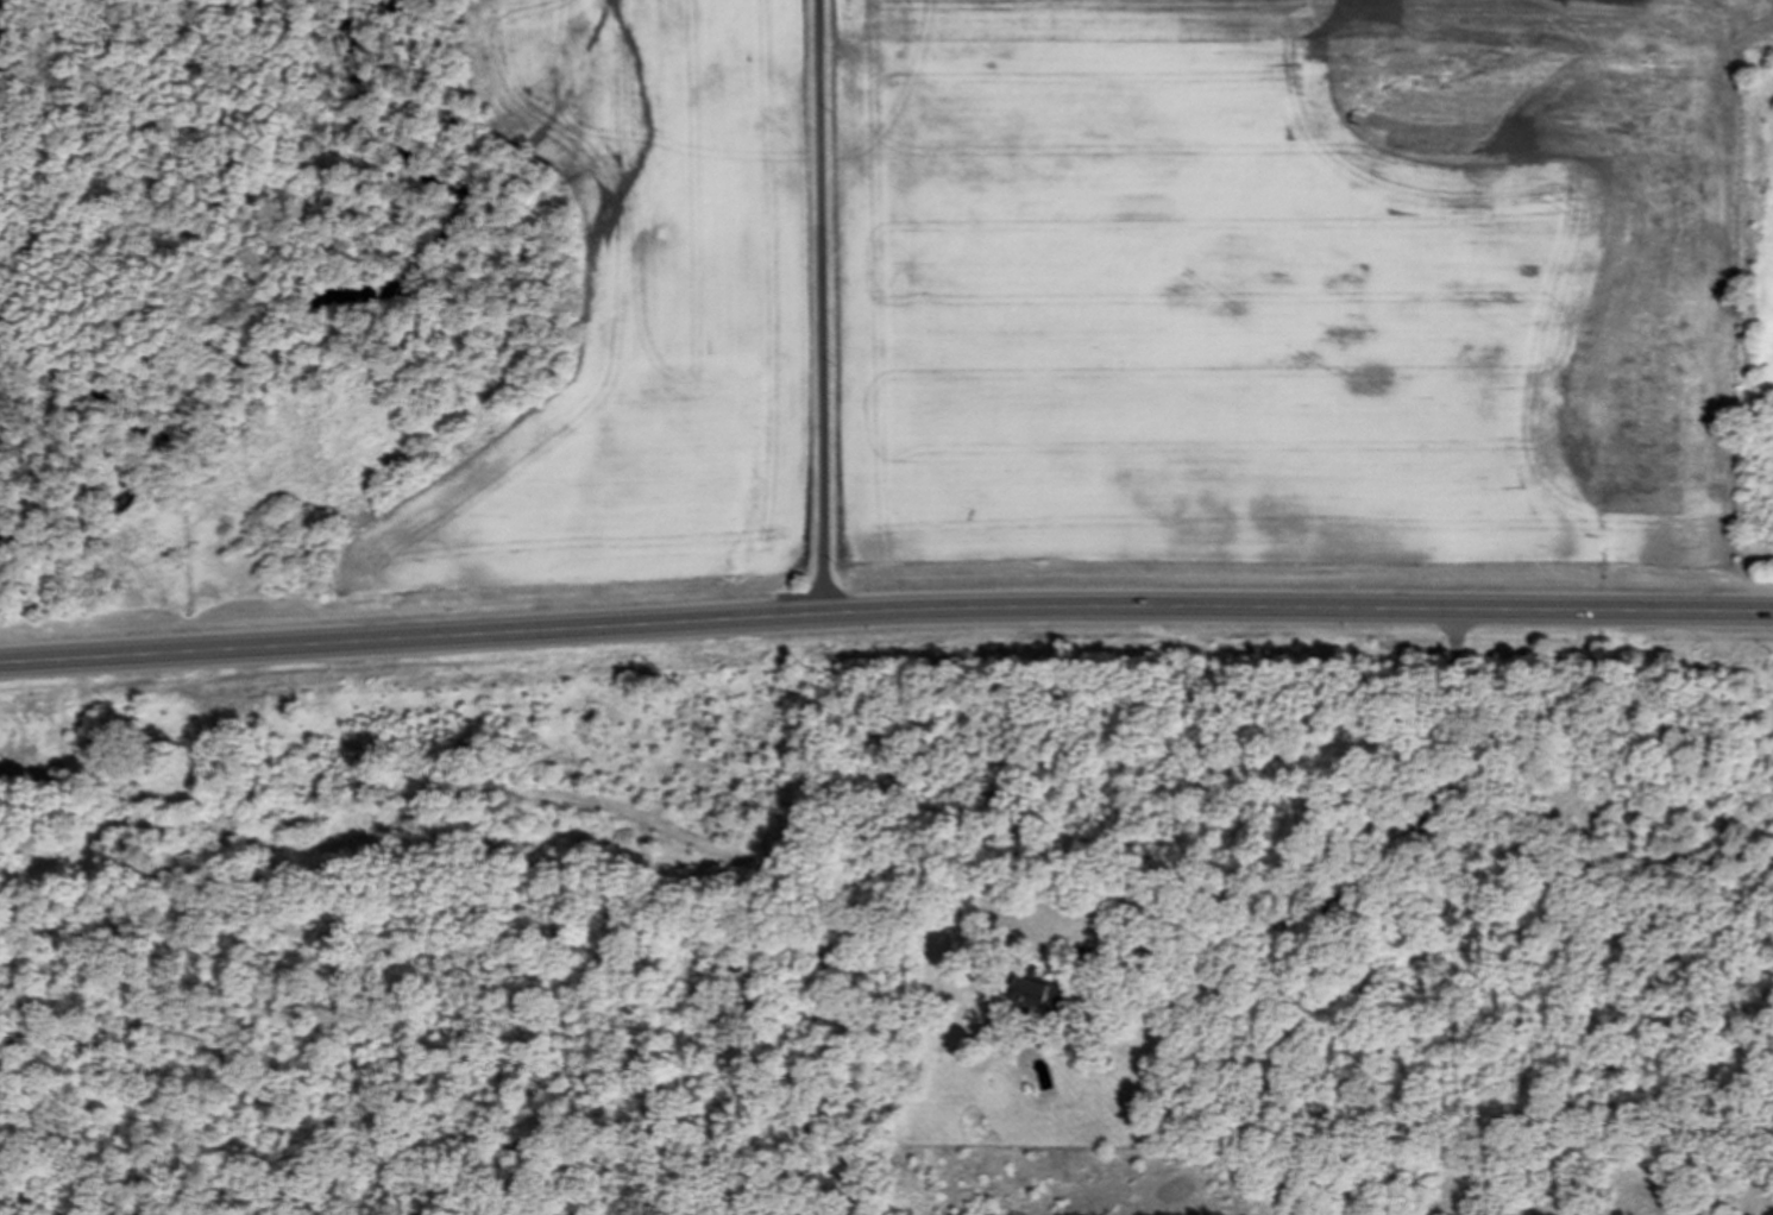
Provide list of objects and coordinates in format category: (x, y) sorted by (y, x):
road: (824, 313)
road: (886, 625)
building: (1032, 991)

